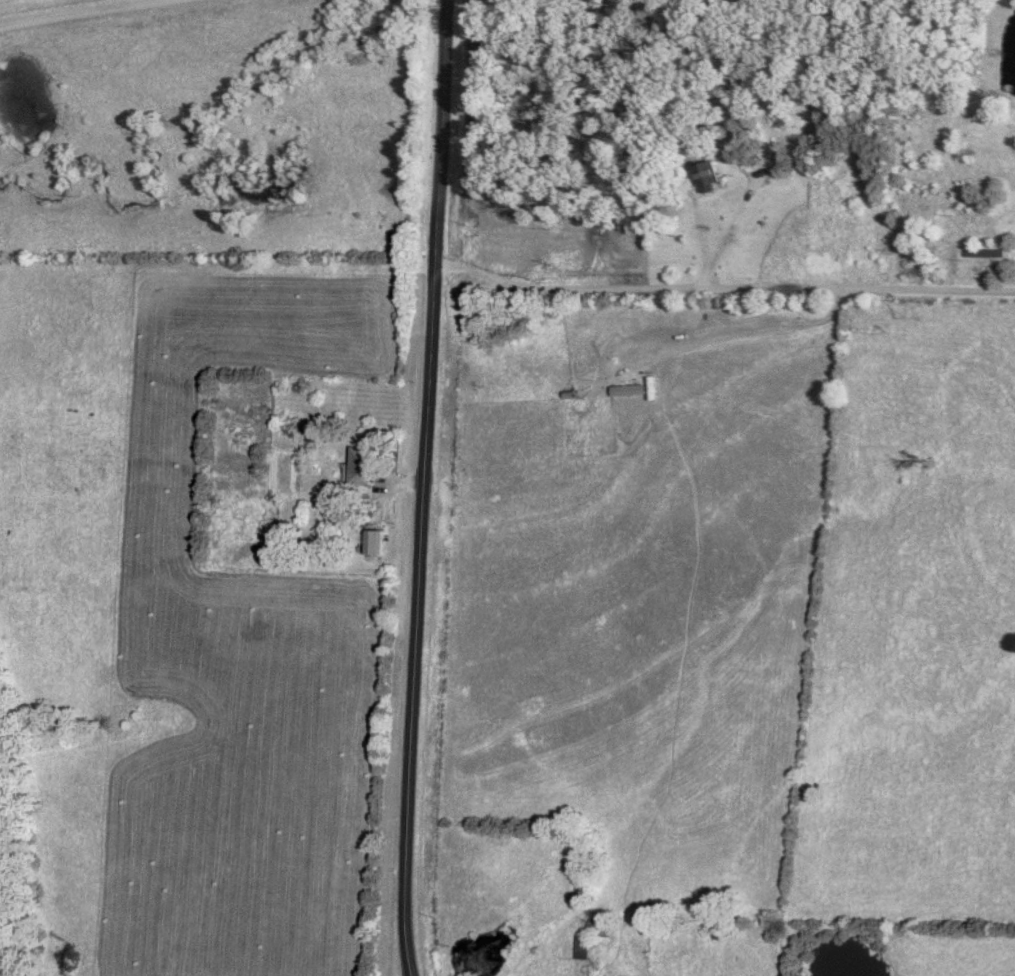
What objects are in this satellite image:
road: (92, 14)
building: (706, 175)
building: (921, 209)
building: (962, 215)
building: (984, 254)
road: (724, 290)
building: (356, 466)
road: (426, 488)
building: (371, 543)
building: (595, 928)
building: (579, 948)

